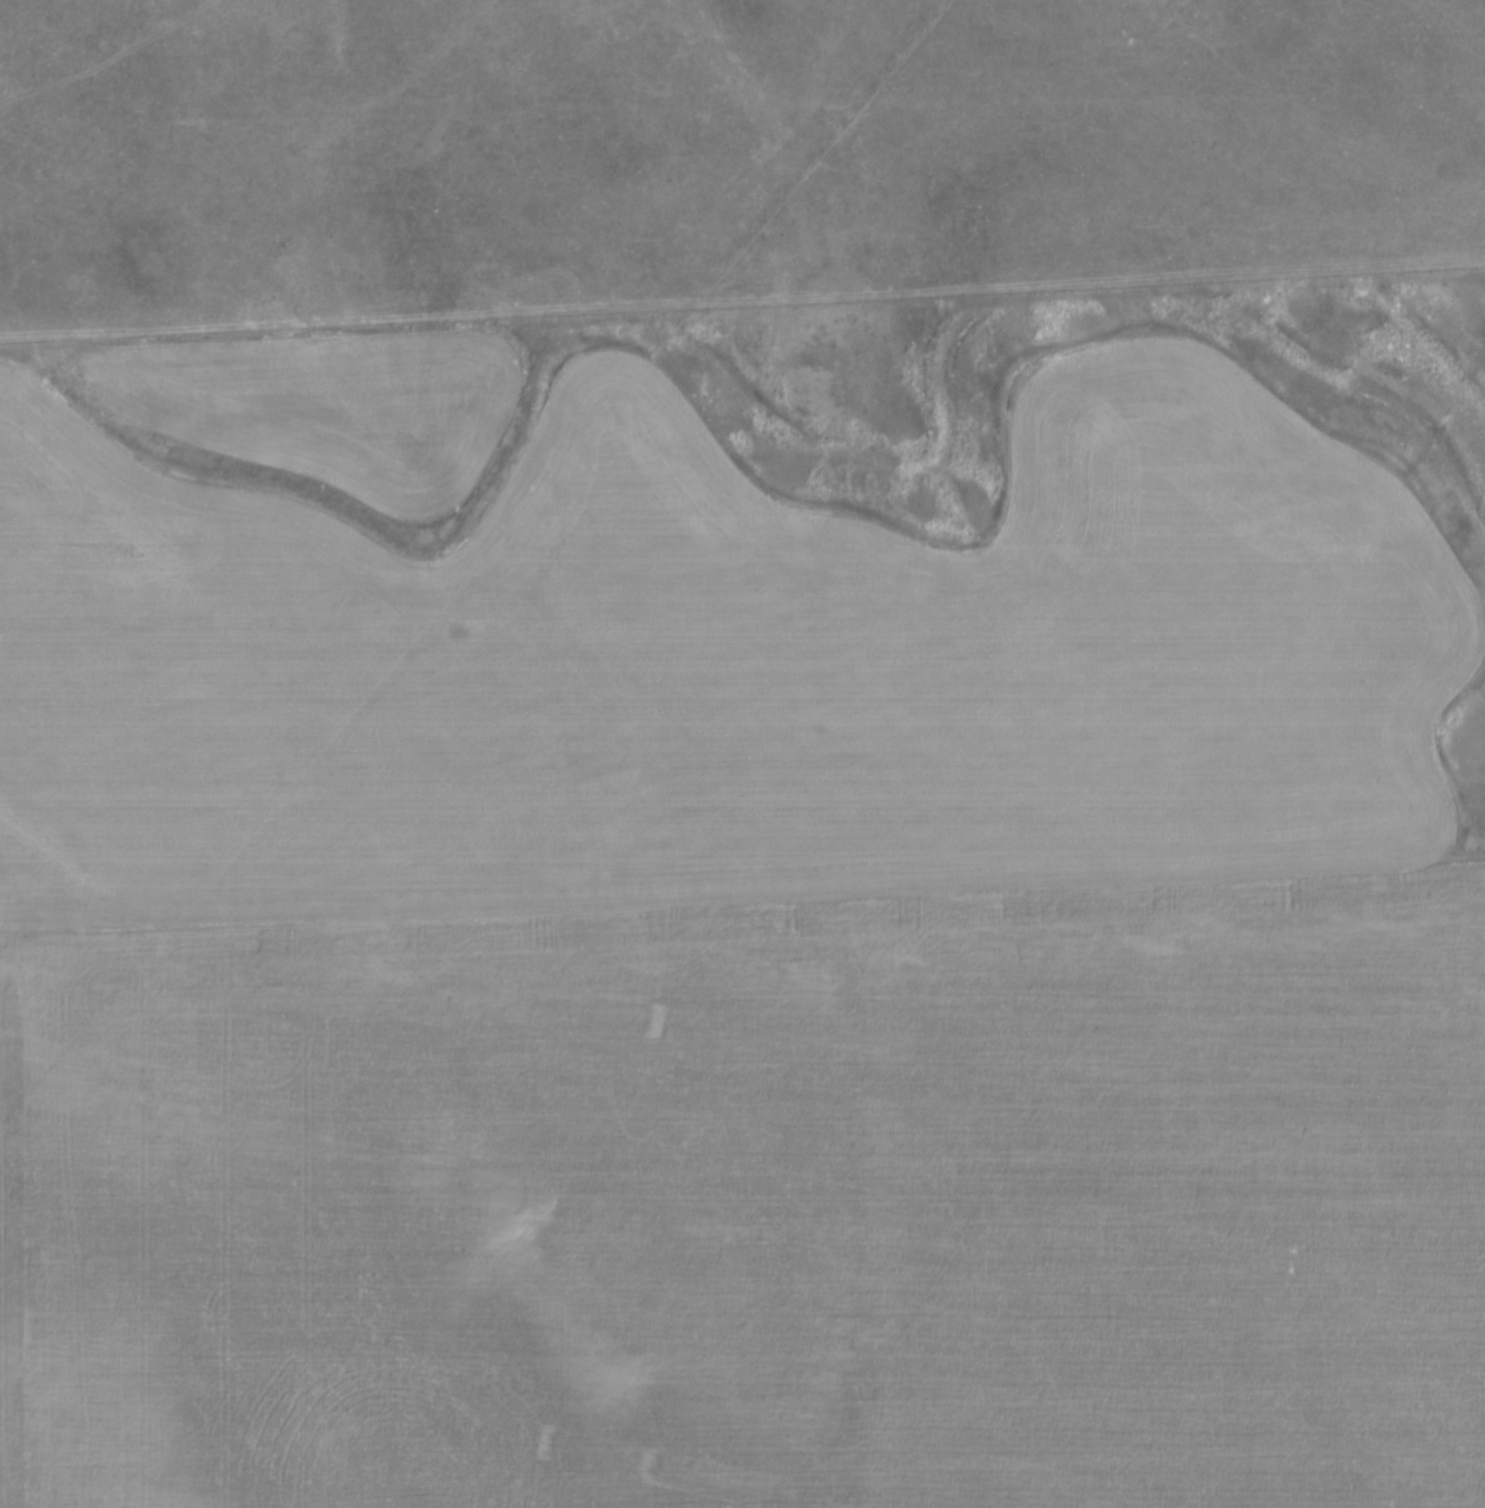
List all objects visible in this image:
crop: (723, 949)

